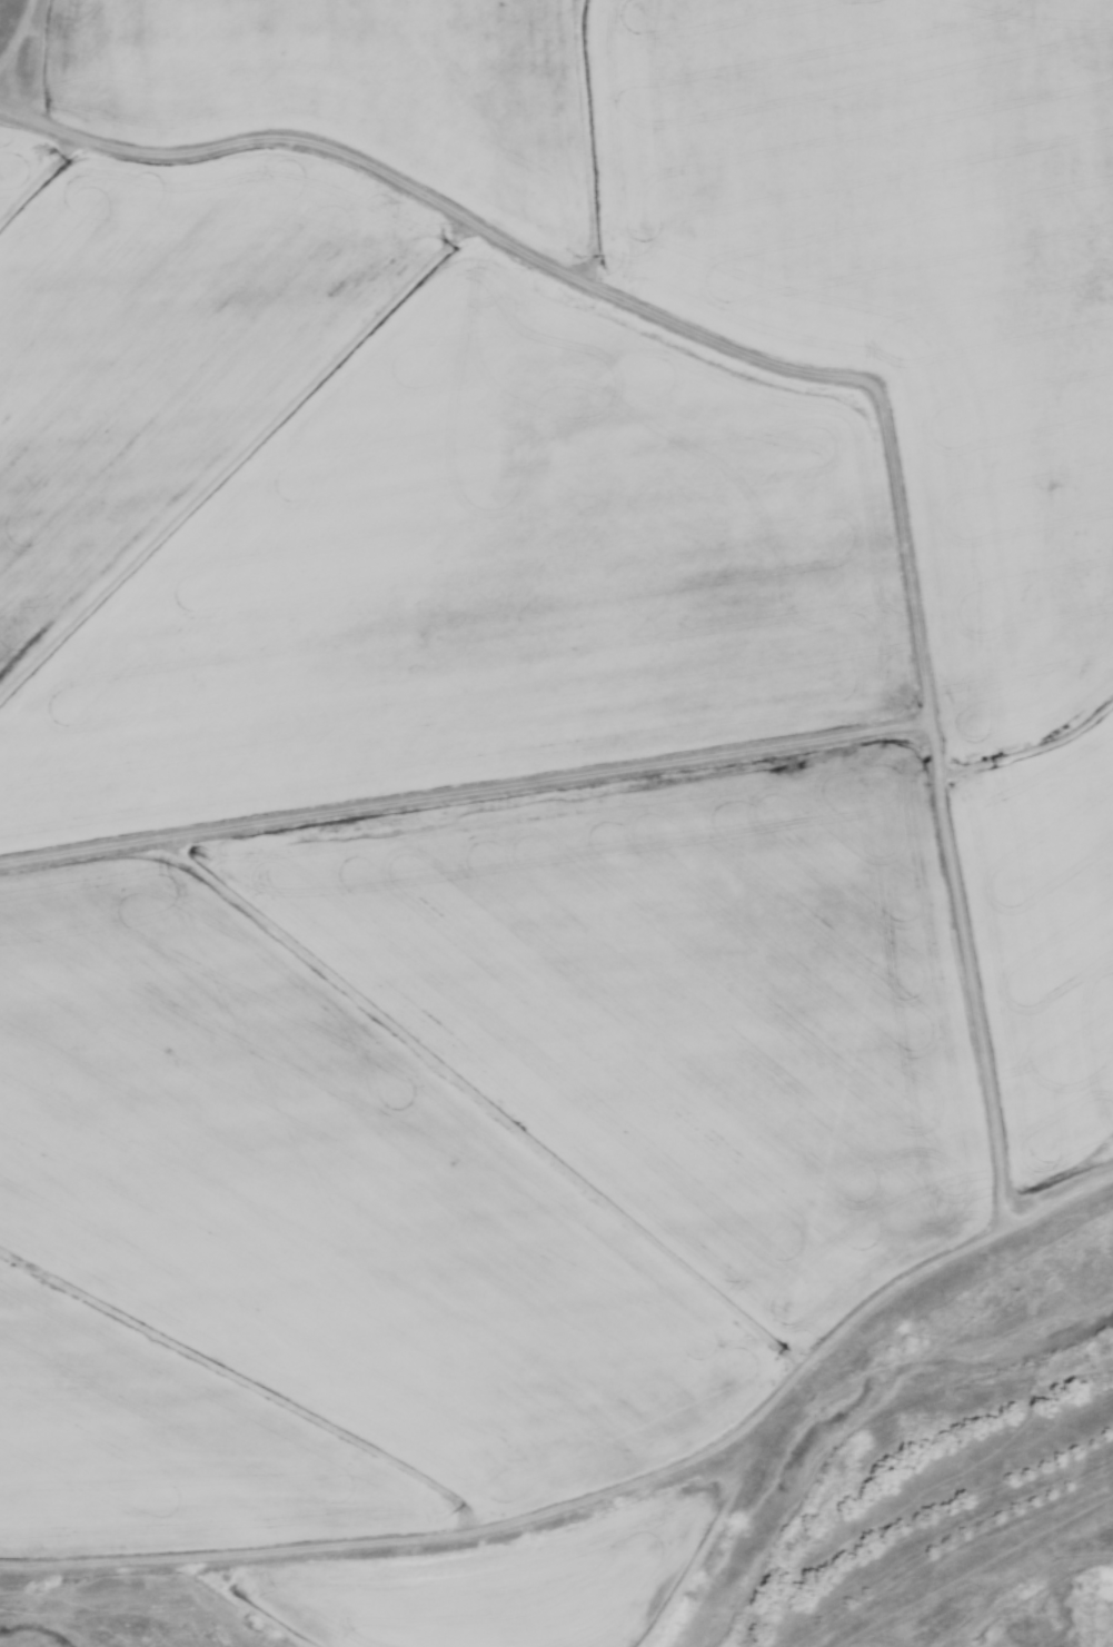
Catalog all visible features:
road: (603, 1480)

